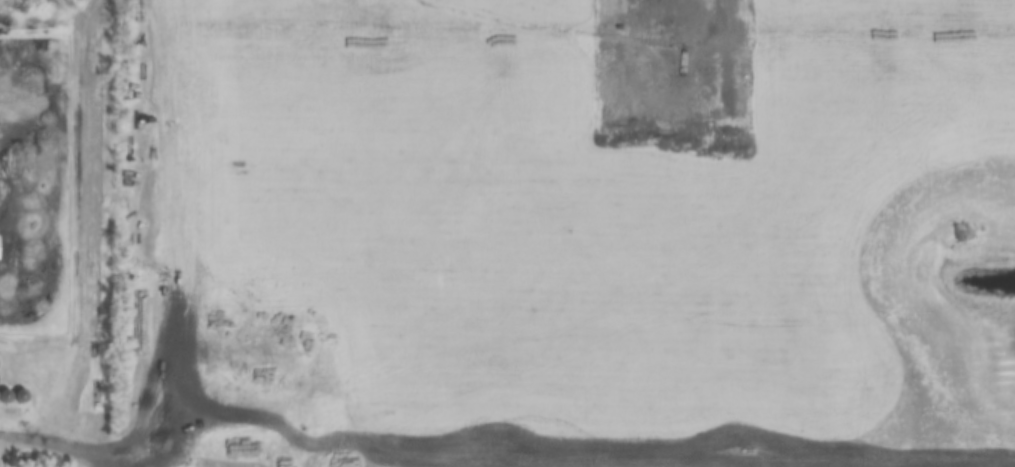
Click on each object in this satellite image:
road: (146, 284)

